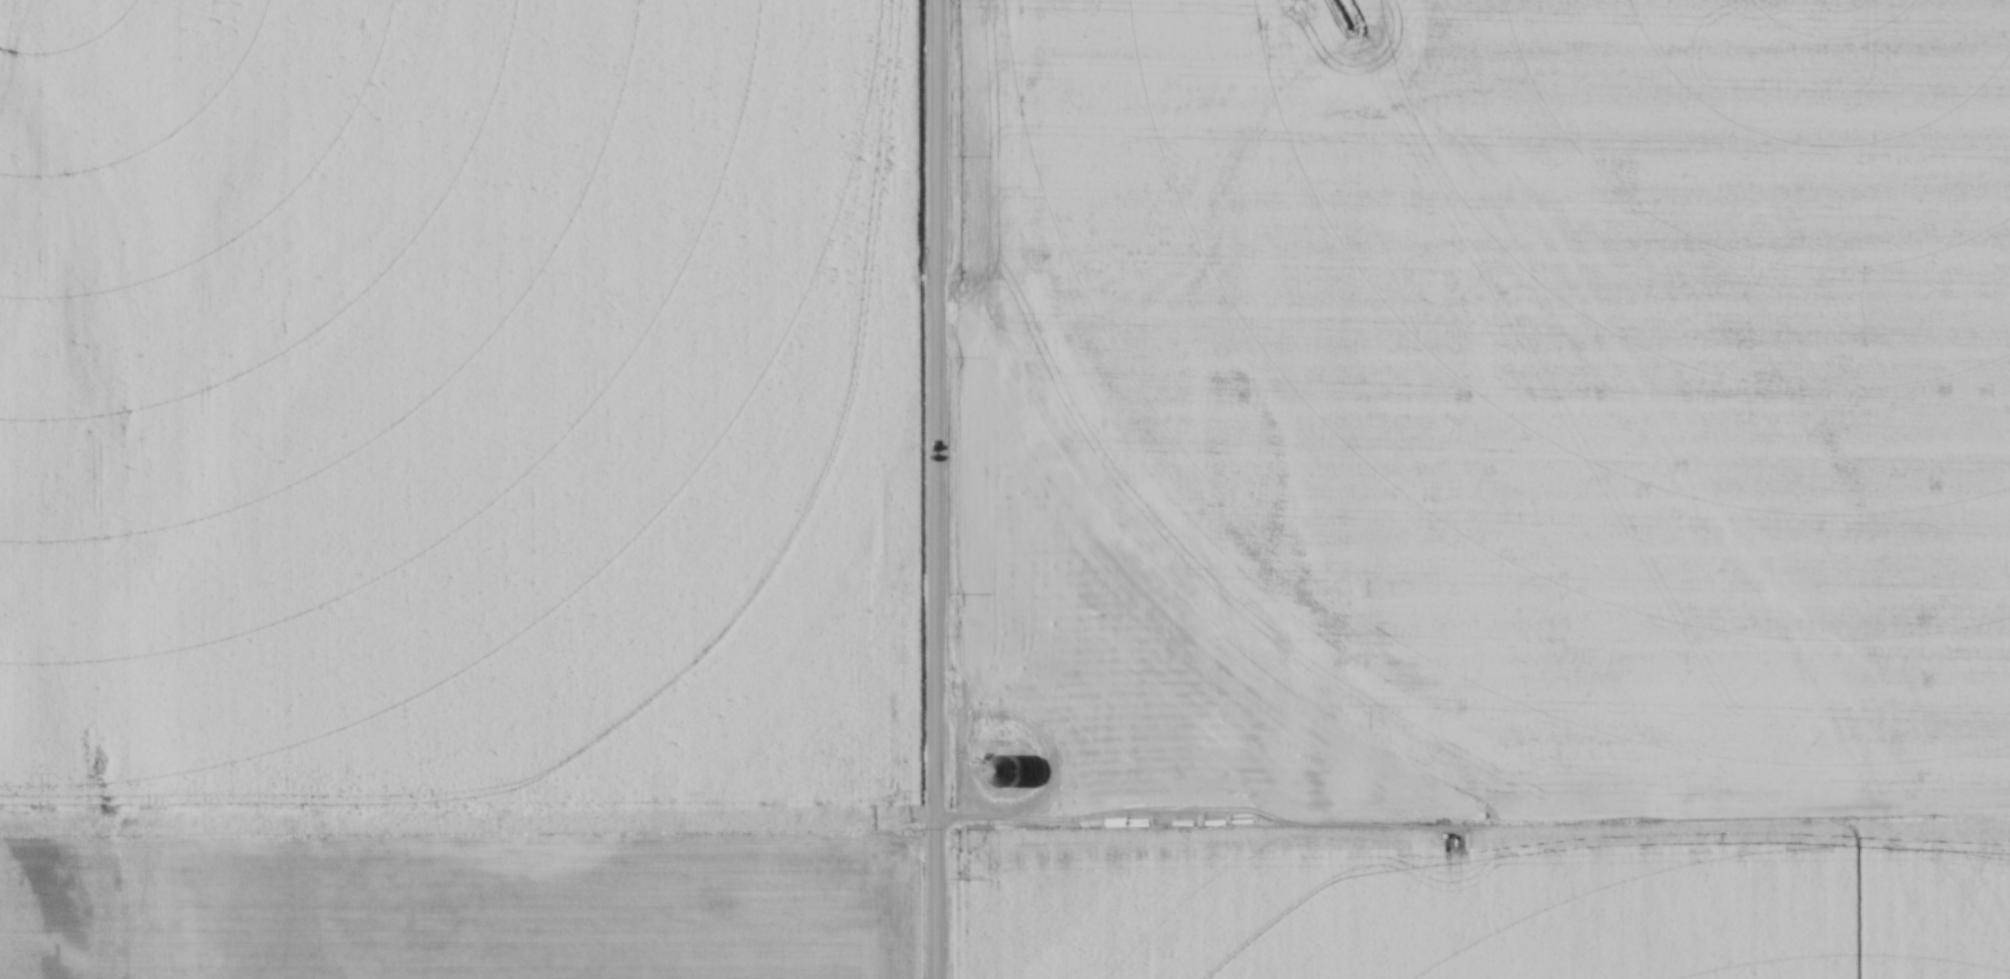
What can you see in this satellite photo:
crop: (1489, 487)
crop: (455, 489)
road: (935, 489)
building: (1005, 773)
silo: (1006, 773)
building: (1932, 830)
road: (1504, 851)
road: (1924, 866)

